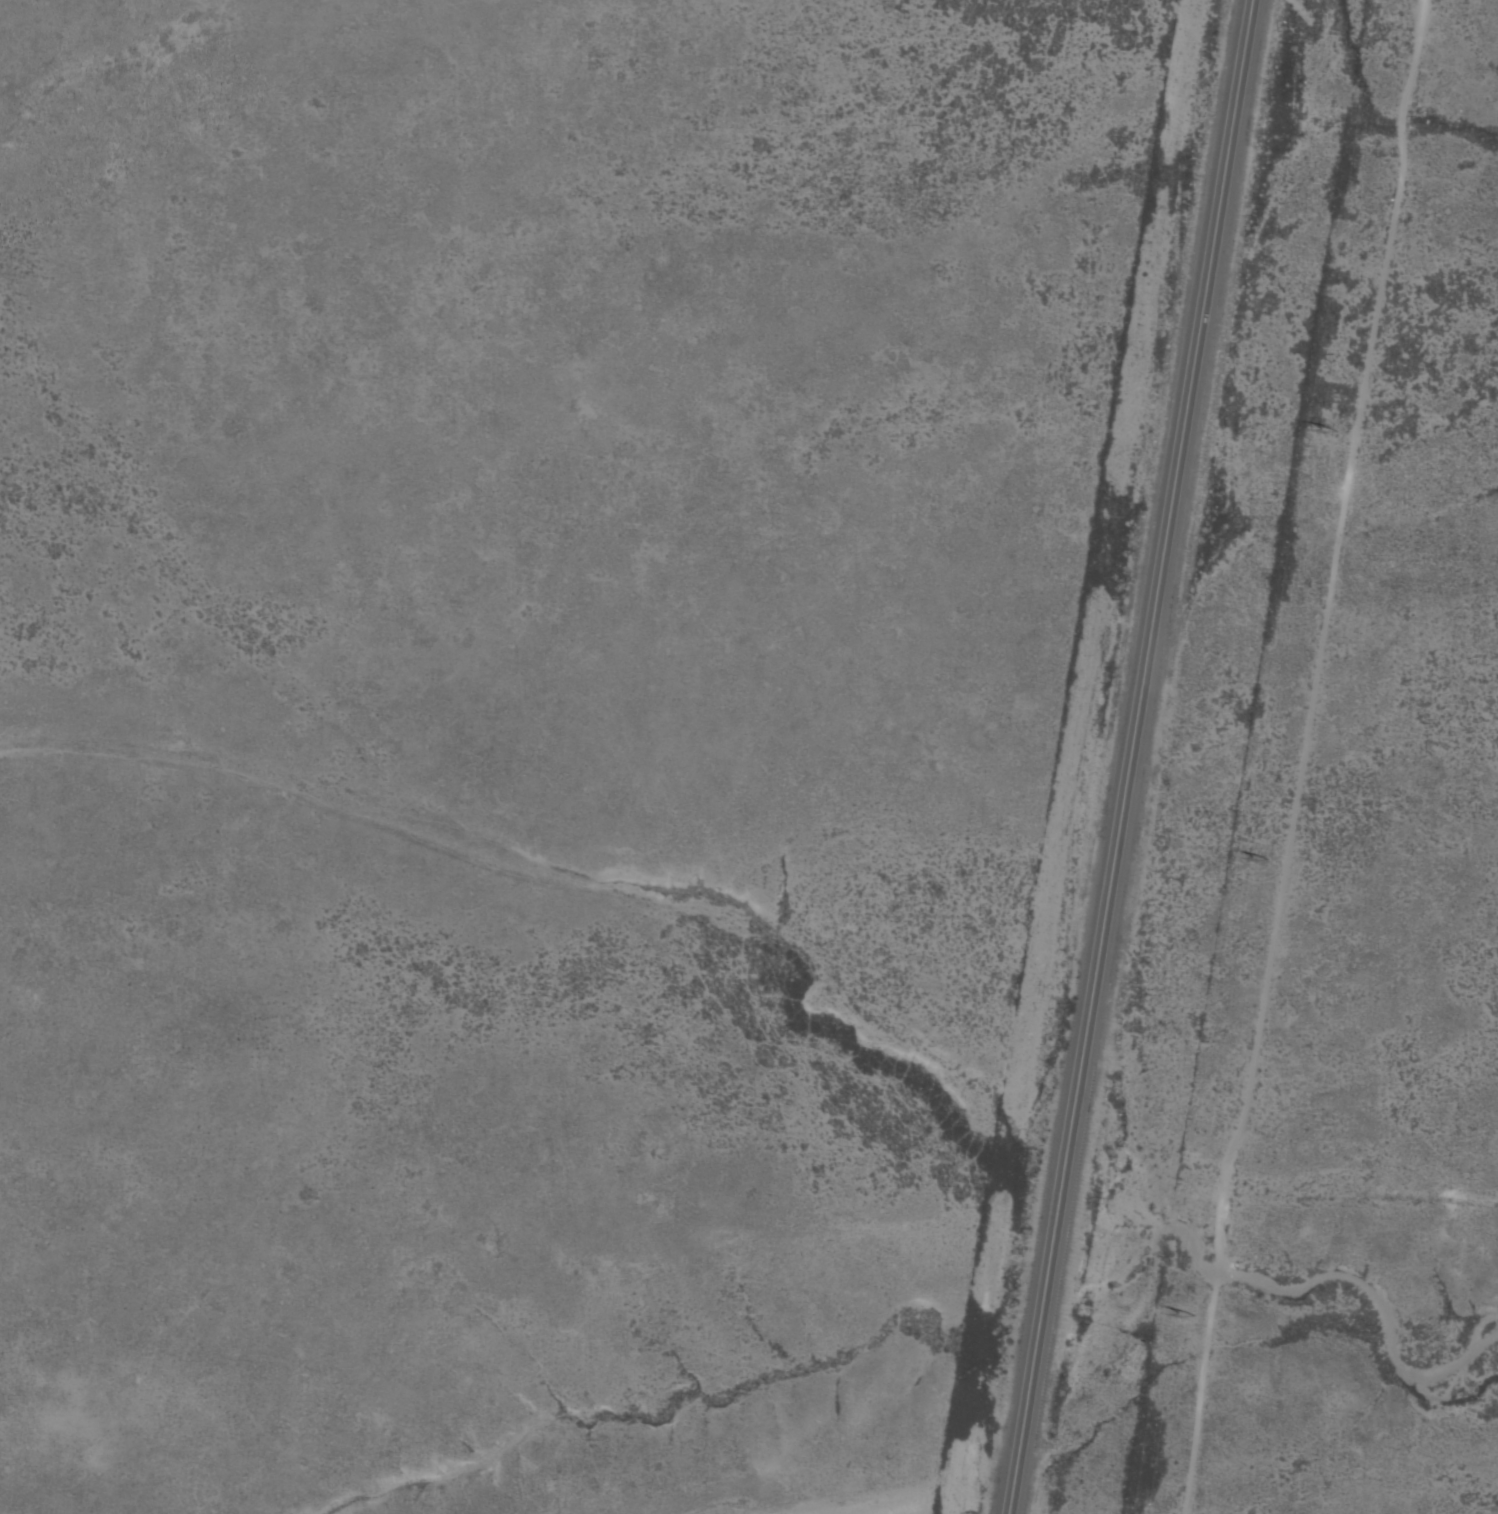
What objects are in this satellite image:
power tower: (1334, 428)
road: (1119, 755)
power tower: (1265, 857)
power tower: (1191, 1314)

